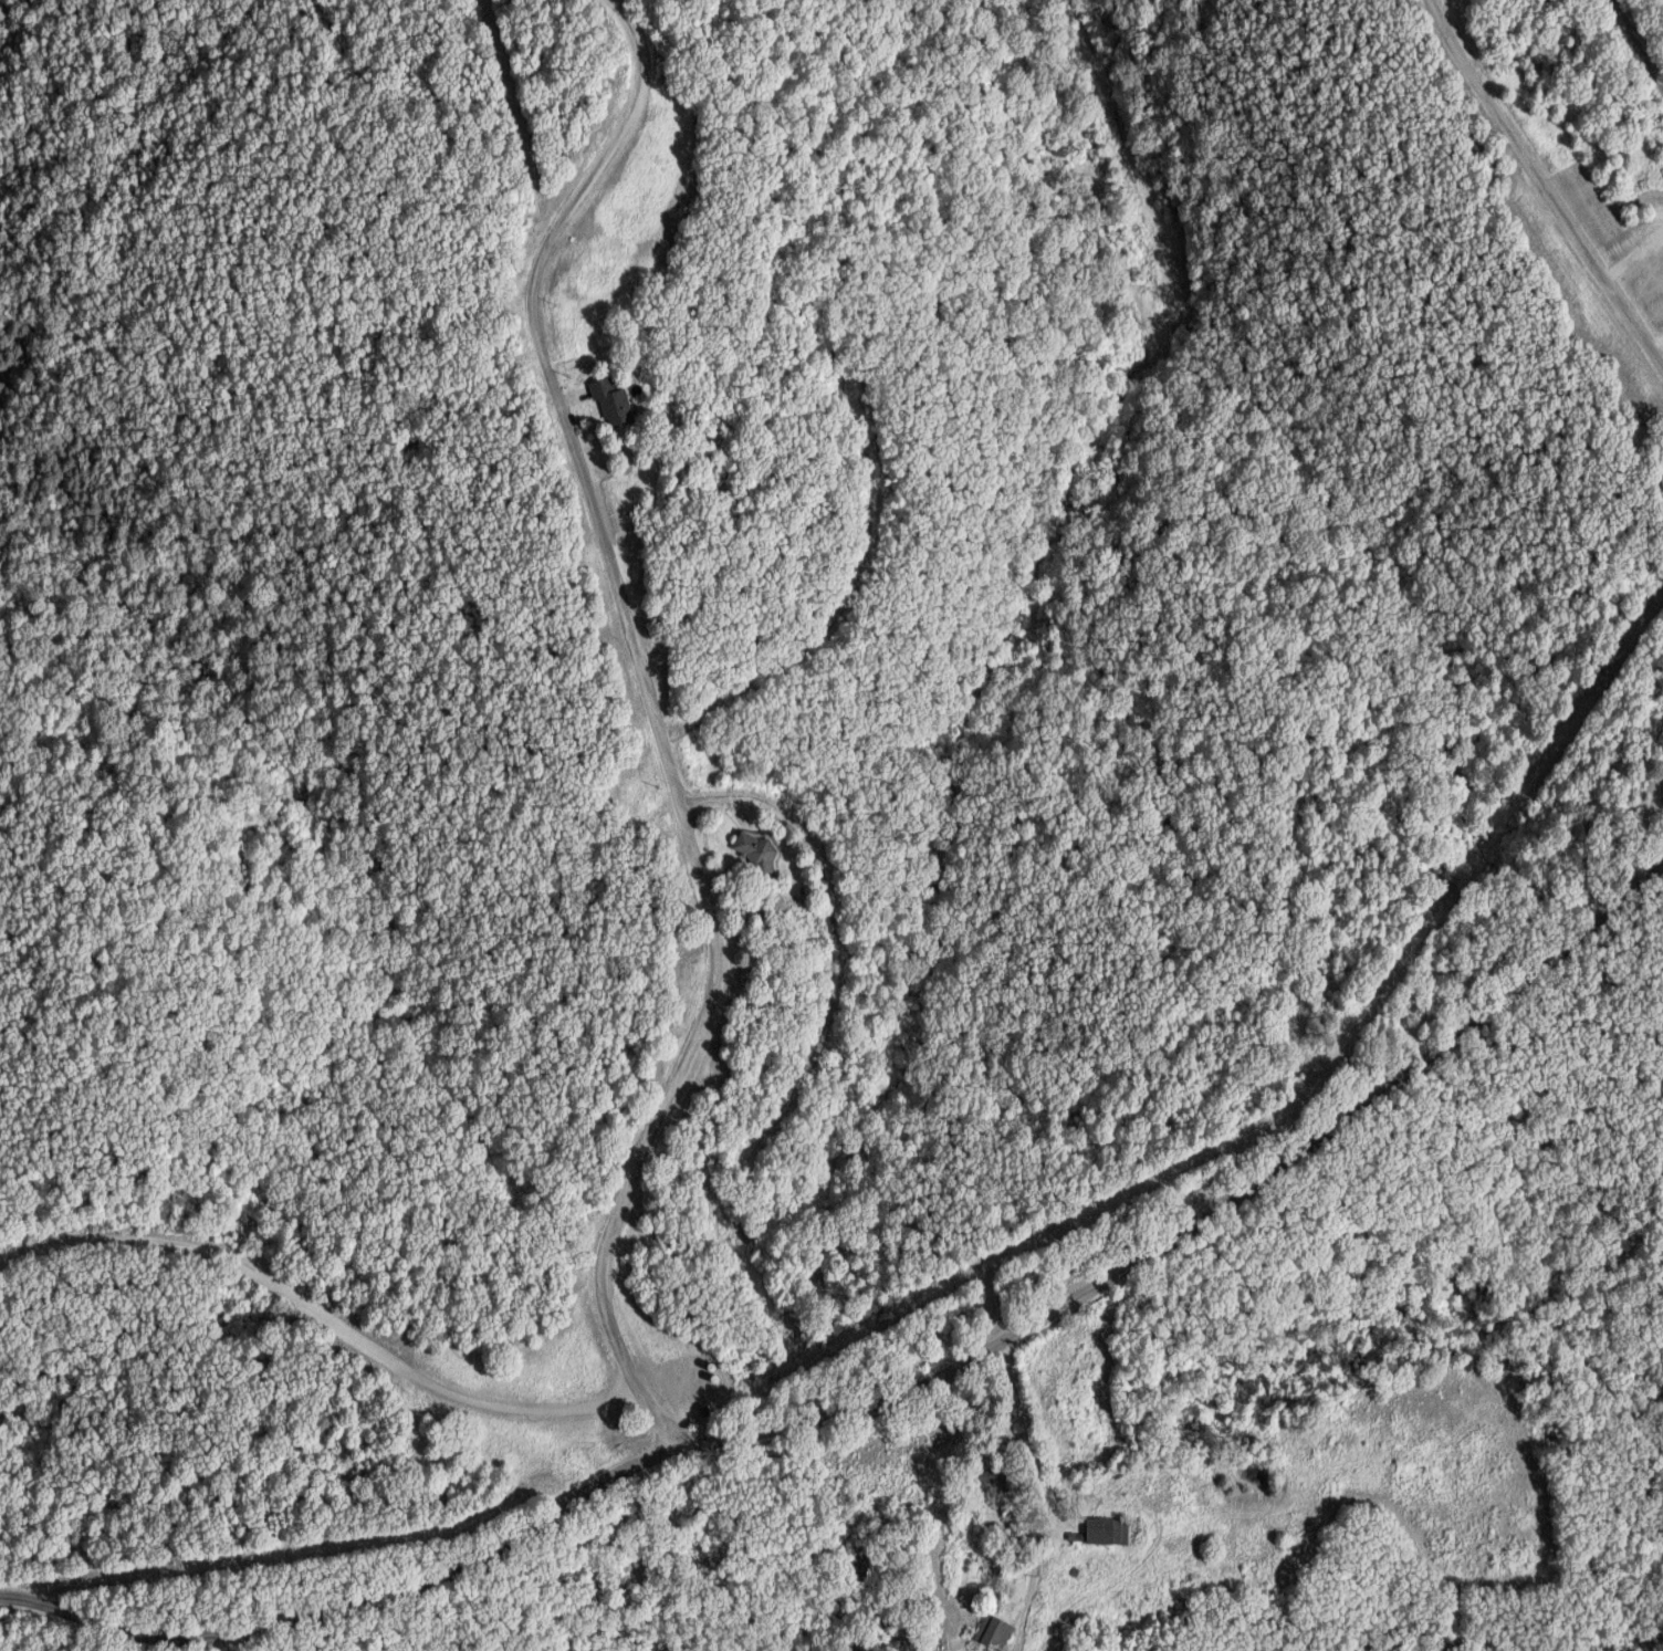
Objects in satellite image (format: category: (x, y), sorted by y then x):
road: (1640, 43)
road: (899, 170)
road: (1544, 185)
building: (615, 403)
road: (605, 566)
road: (768, 809)
building: (759, 849)
road: (836, 943)
road: (767, 1129)
road: (596, 1267)
road: (322, 1303)
road: (889, 1393)
road: (650, 1421)
road: (1037, 1496)
building: (1104, 1530)
building: (995, 1631)

